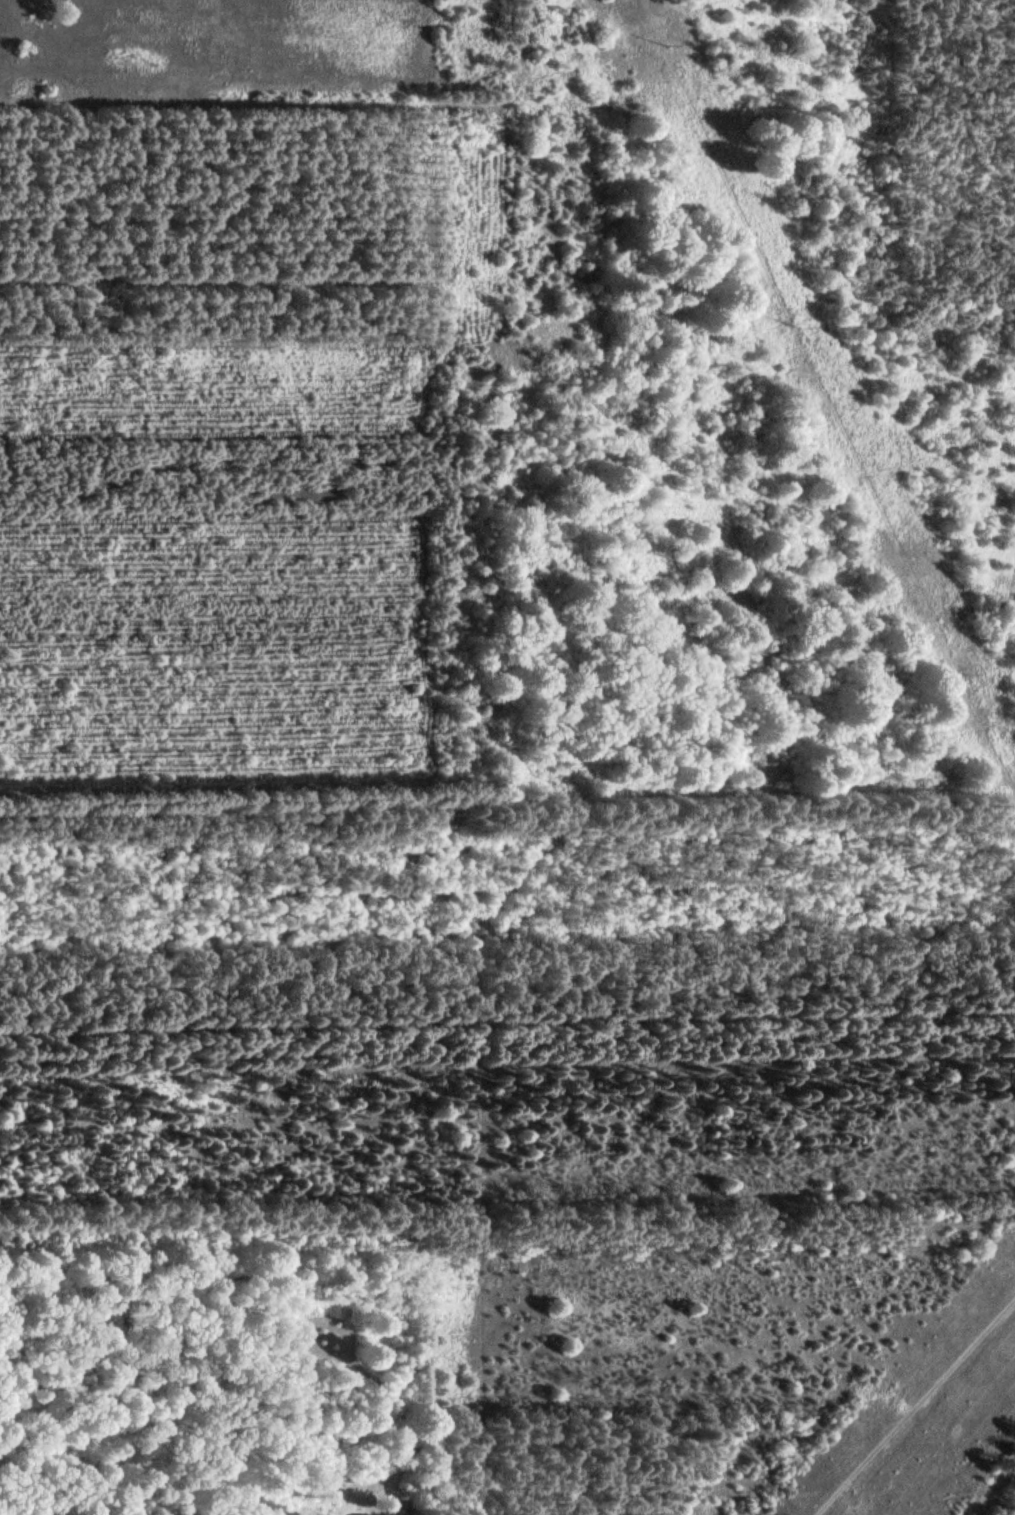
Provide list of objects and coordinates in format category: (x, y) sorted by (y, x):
road: (913, 1403)
building: (27, 1513)

